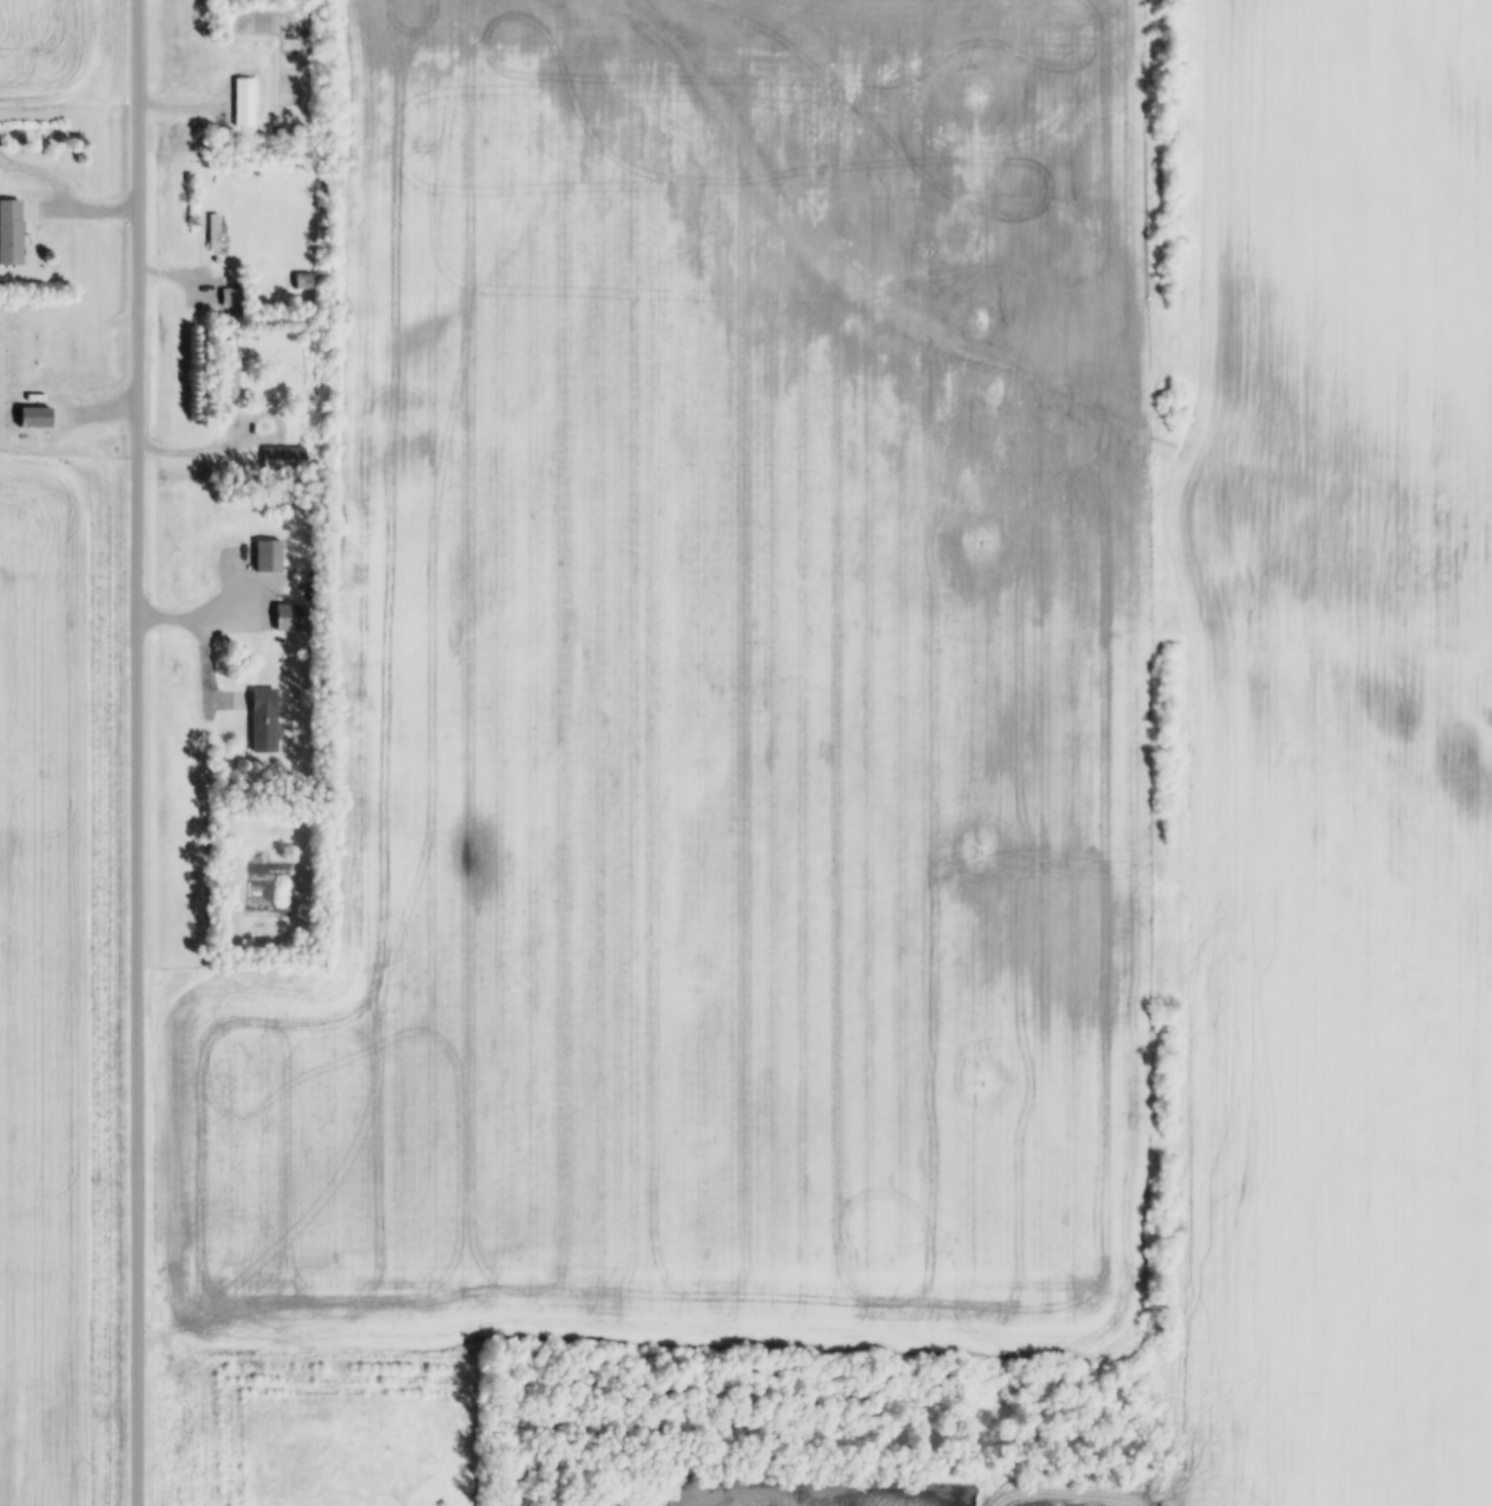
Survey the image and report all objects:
building: (246, 102)
building: (13, 233)
building: (216, 233)
building: (304, 280)
building: (234, 297)
building: (234, 376)
building: (40, 417)
building: (287, 459)
building: (271, 556)
building: (252, 700)
road: (139, 752)

